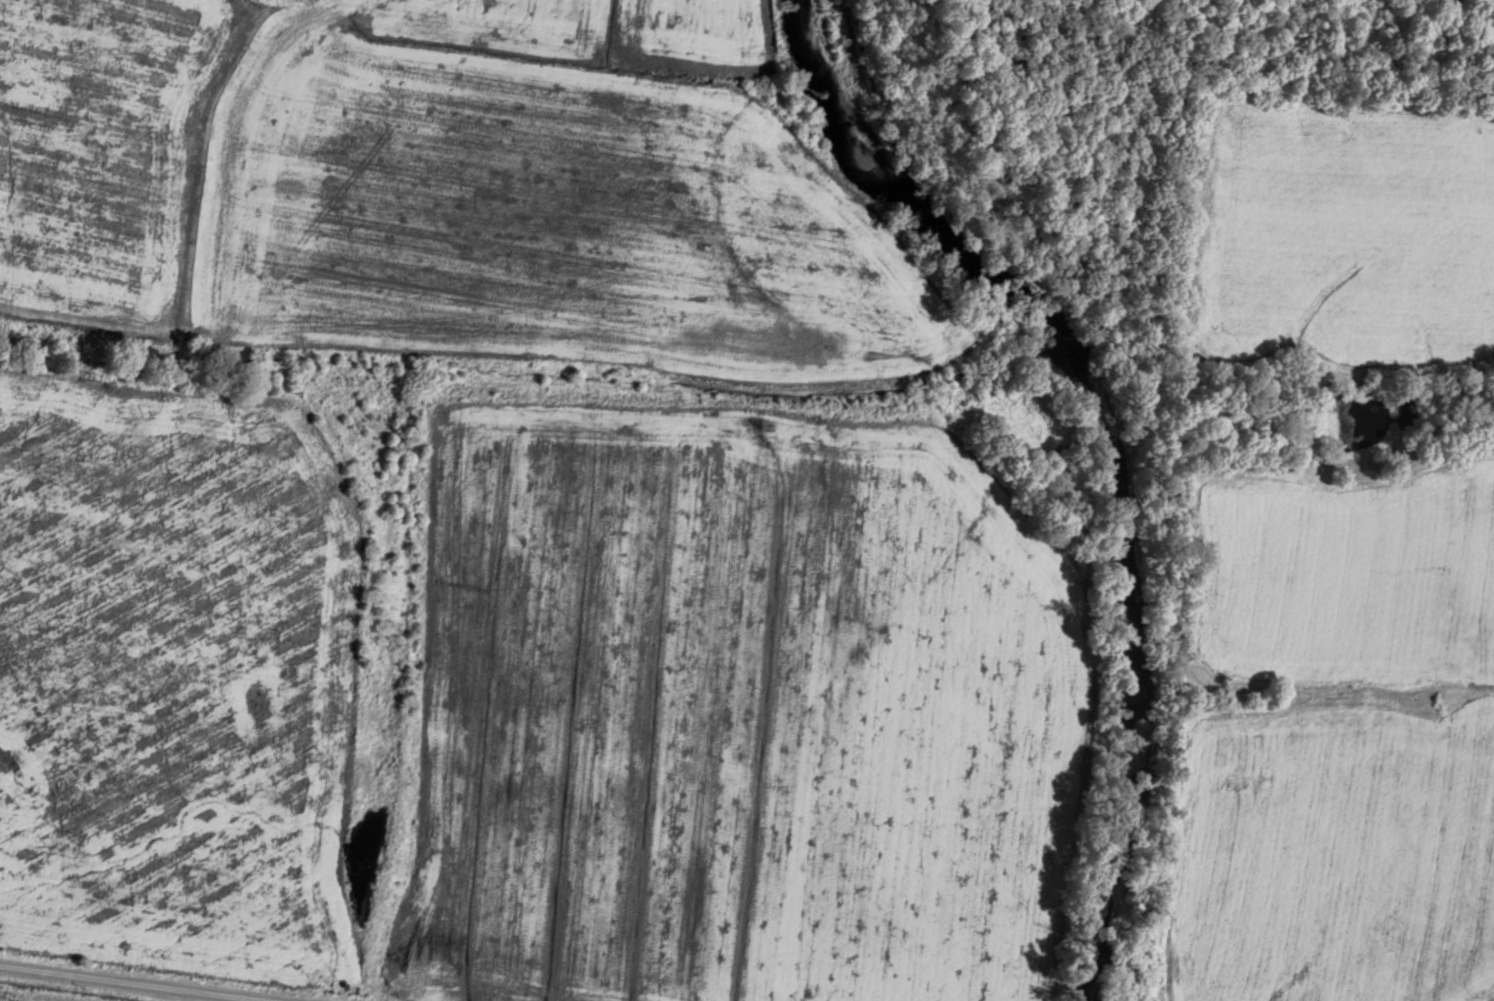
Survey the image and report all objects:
road: (0, 1000)

